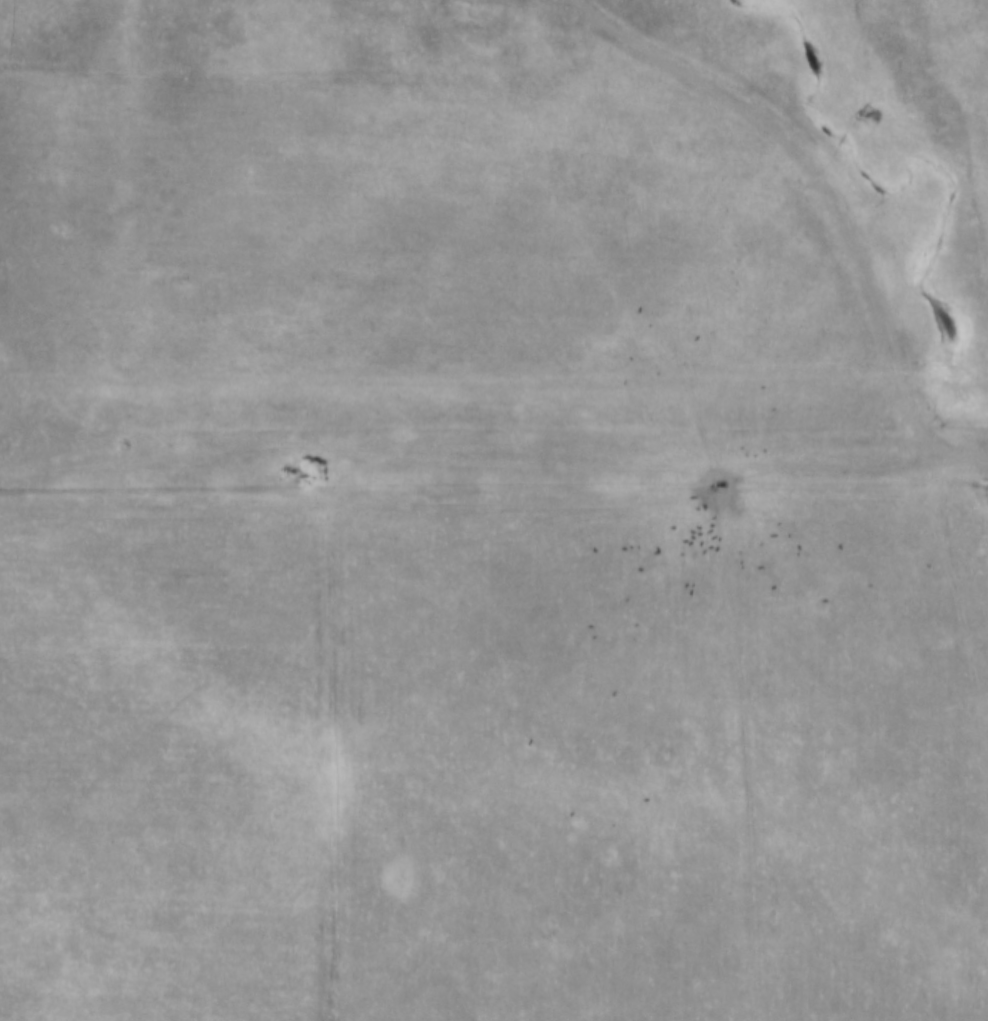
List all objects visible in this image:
road: (826, 194)
road: (491, 467)

